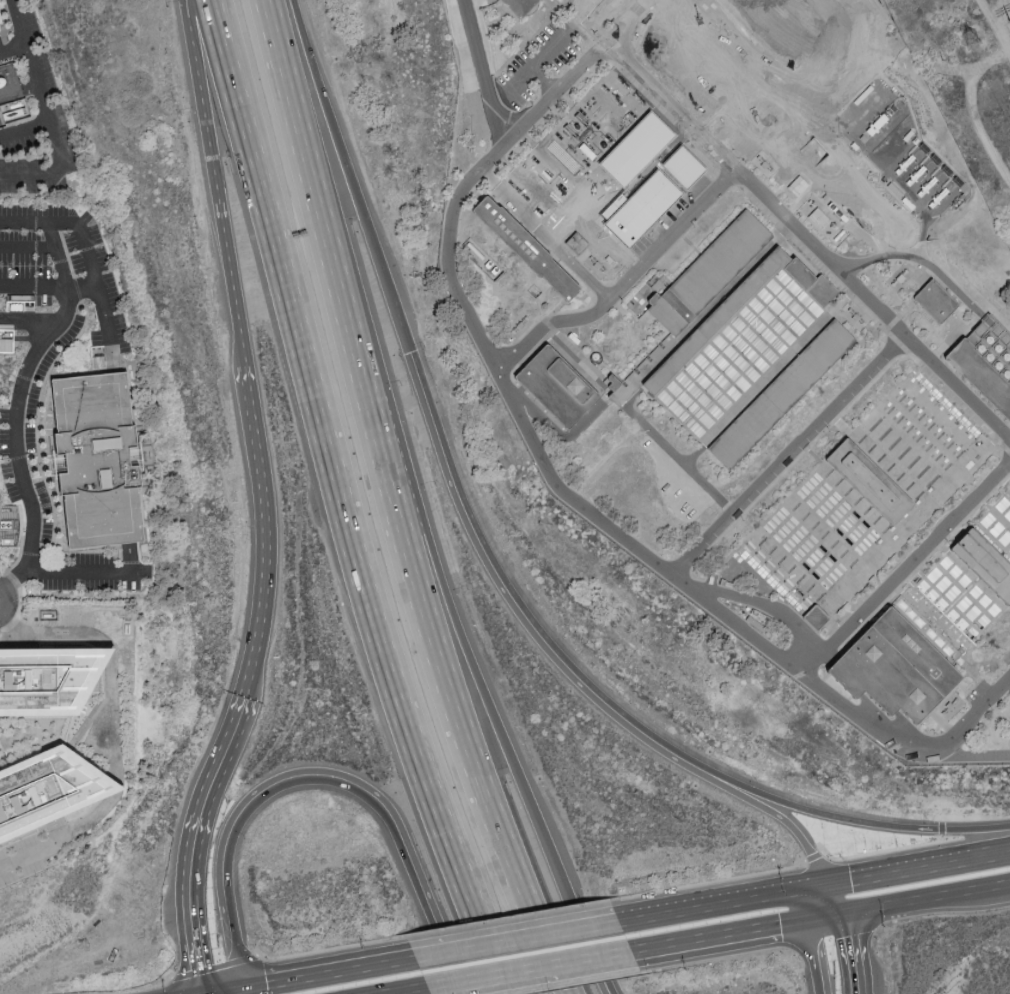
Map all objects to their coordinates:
building: (517, 5)
building: (742, 8)
road: (29, 38)
power tower: (973, 41)
parking lot: (1, 54)
road: (478, 54)
road: (529, 67)
road: (543, 77)
road: (200, 101)
road: (302, 117)
parking lot: (35, 121)
road: (26, 130)
road: (55, 137)
building: (641, 148)
building: (597, 169)
road: (807, 239)
parking lot: (23, 244)
road: (85, 245)
road: (27, 250)
road: (935, 274)
parking lot: (94, 276)
road: (230, 276)
road: (623, 284)
road: (49, 288)
building: (939, 299)
road: (32, 317)
building: (712, 345)
road: (9, 379)
road: (13, 403)
parking lot: (31, 435)
road: (561, 435)
road: (449, 451)
road: (788, 458)
building: (100, 460)
road: (680, 462)
road: (545, 468)
building: (862, 501)
road: (335, 502)
road: (269, 525)
road: (902, 567)
road: (84, 573)
road: (440, 574)
parking lot: (84, 576)
road: (6, 602)
building: (934, 621)
road: (434, 622)
building: (48, 681)
road: (971, 719)
road: (323, 783)
building: (48, 792)
road: (215, 796)
road: (976, 819)
road: (881, 825)
road: (941, 828)
road: (798, 834)
road: (881, 851)
road: (813, 857)
road: (27, 858)
road: (920, 866)
traffic signals: (830, 883)
road: (694, 885)
road: (924, 892)
road: (763, 894)
road: (834, 895)
road: (573, 907)
traffic signals: (838, 907)
road: (661, 910)
road: (820, 910)
road: (541, 913)
traffic signals: (803, 913)
road: (621, 917)
road: (510, 918)
road: (478, 924)
road: (451, 929)
road: (719, 929)
road: (439, 931)
road: (518, 936)
road: (201, 944)
road: (342, 947)
road: (593, 949)
road: (843, 950)
road: (812, 953)
road: (531, 961)
road: (215, 966)
road: (333, 970)
traffic signals: (247, 986)
road: (393, 987)
road: (143, 988)
road: (230, 990)
traffic signals: (213, 993)

